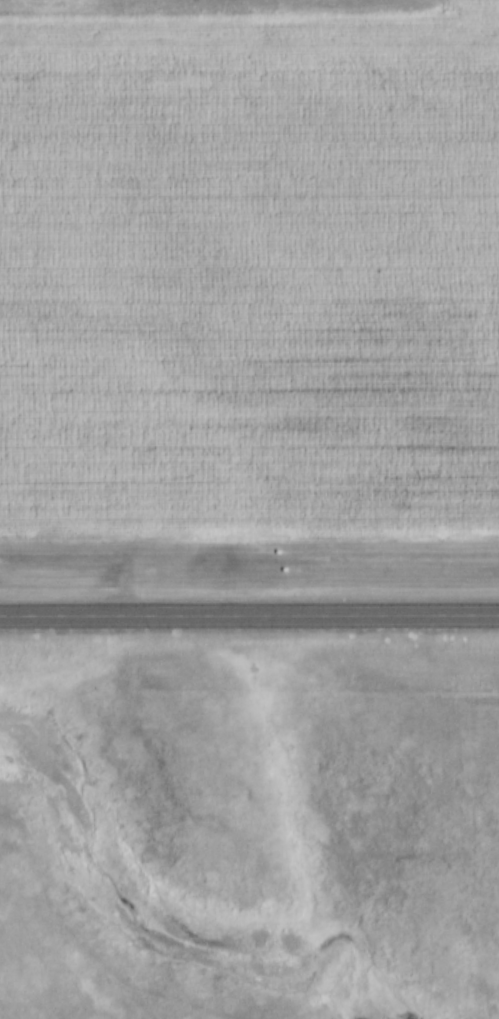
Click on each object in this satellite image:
road: (249, 617)

